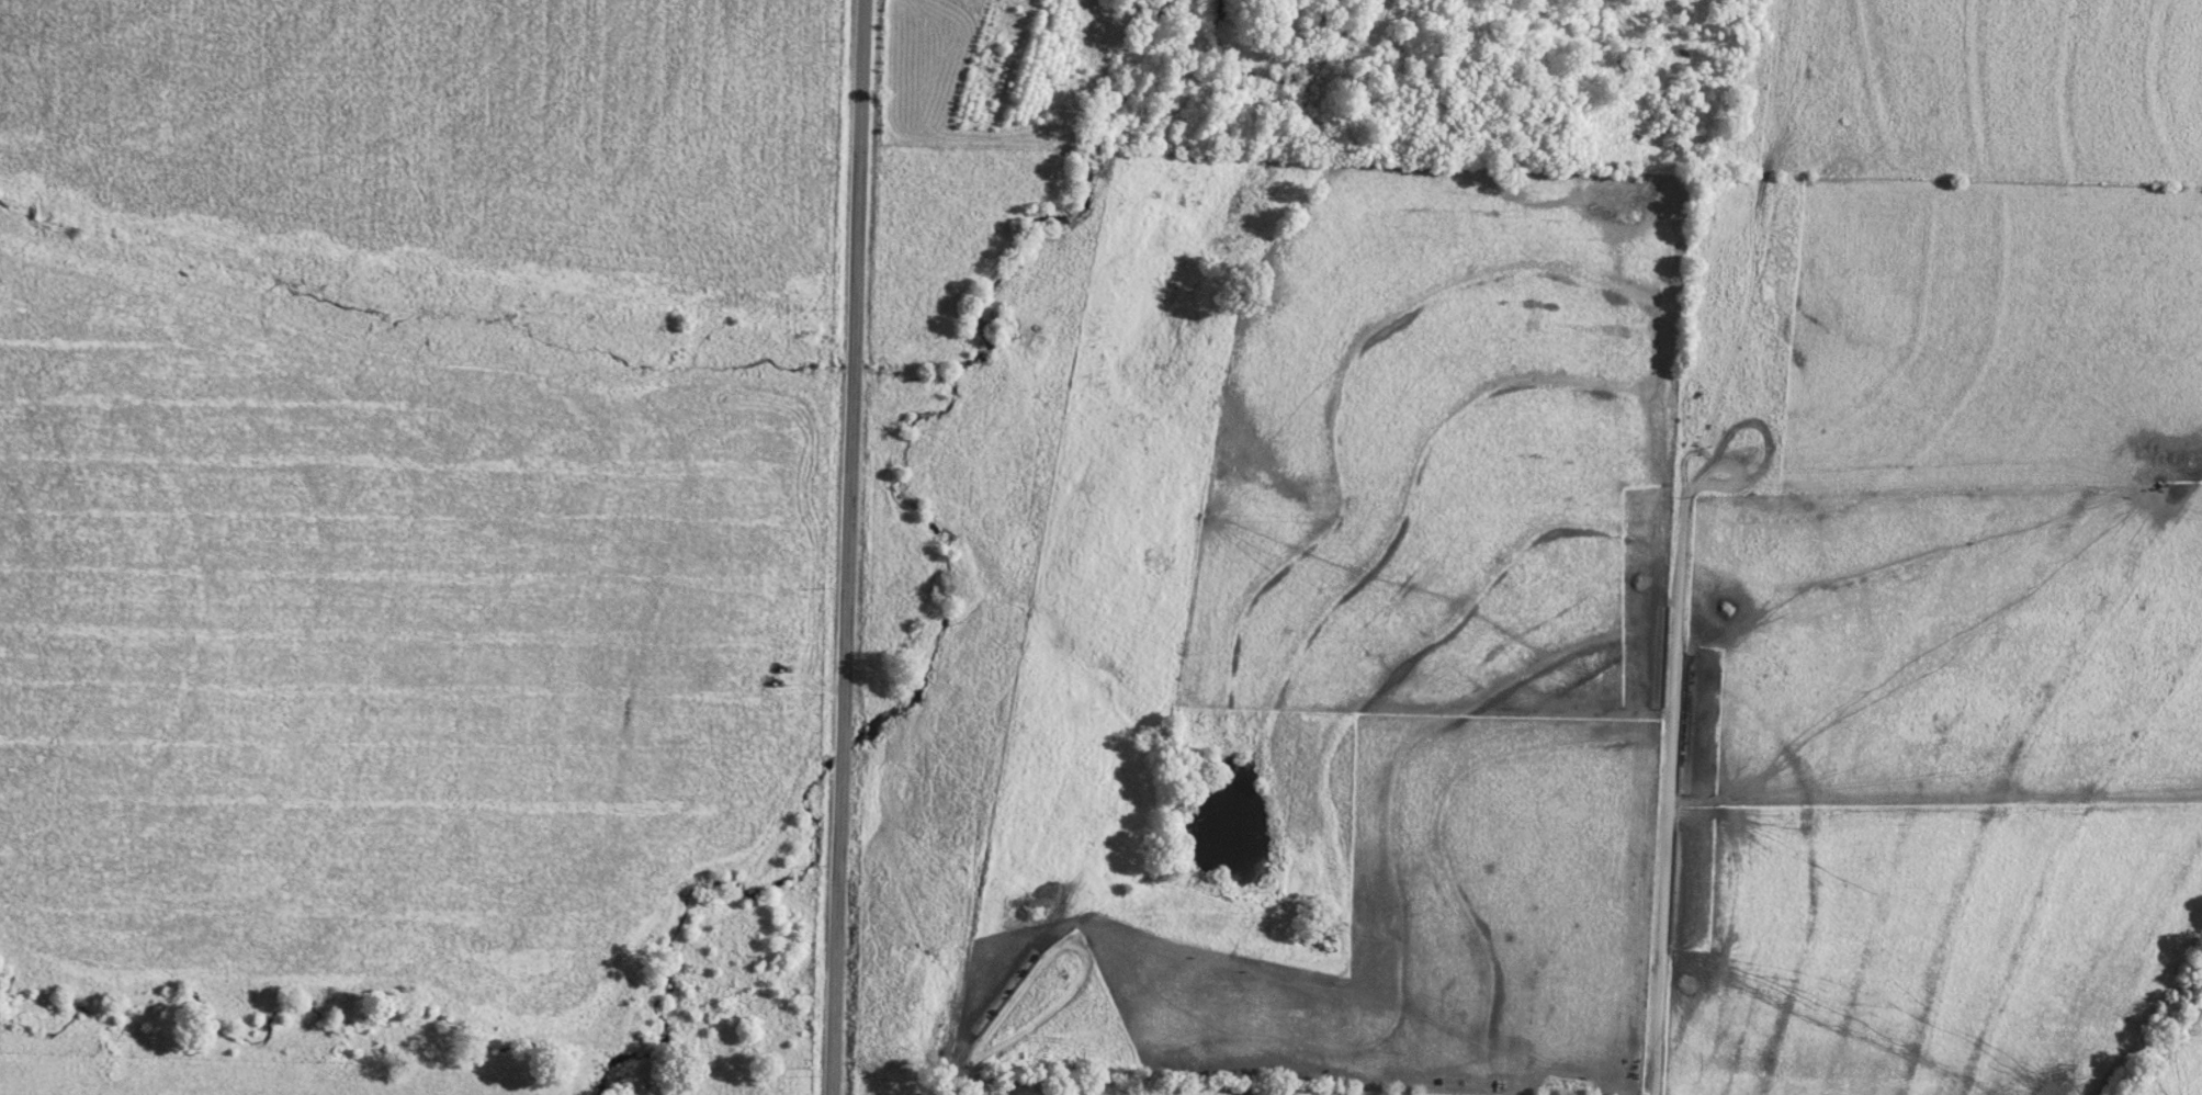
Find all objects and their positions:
road: (846, 546)

